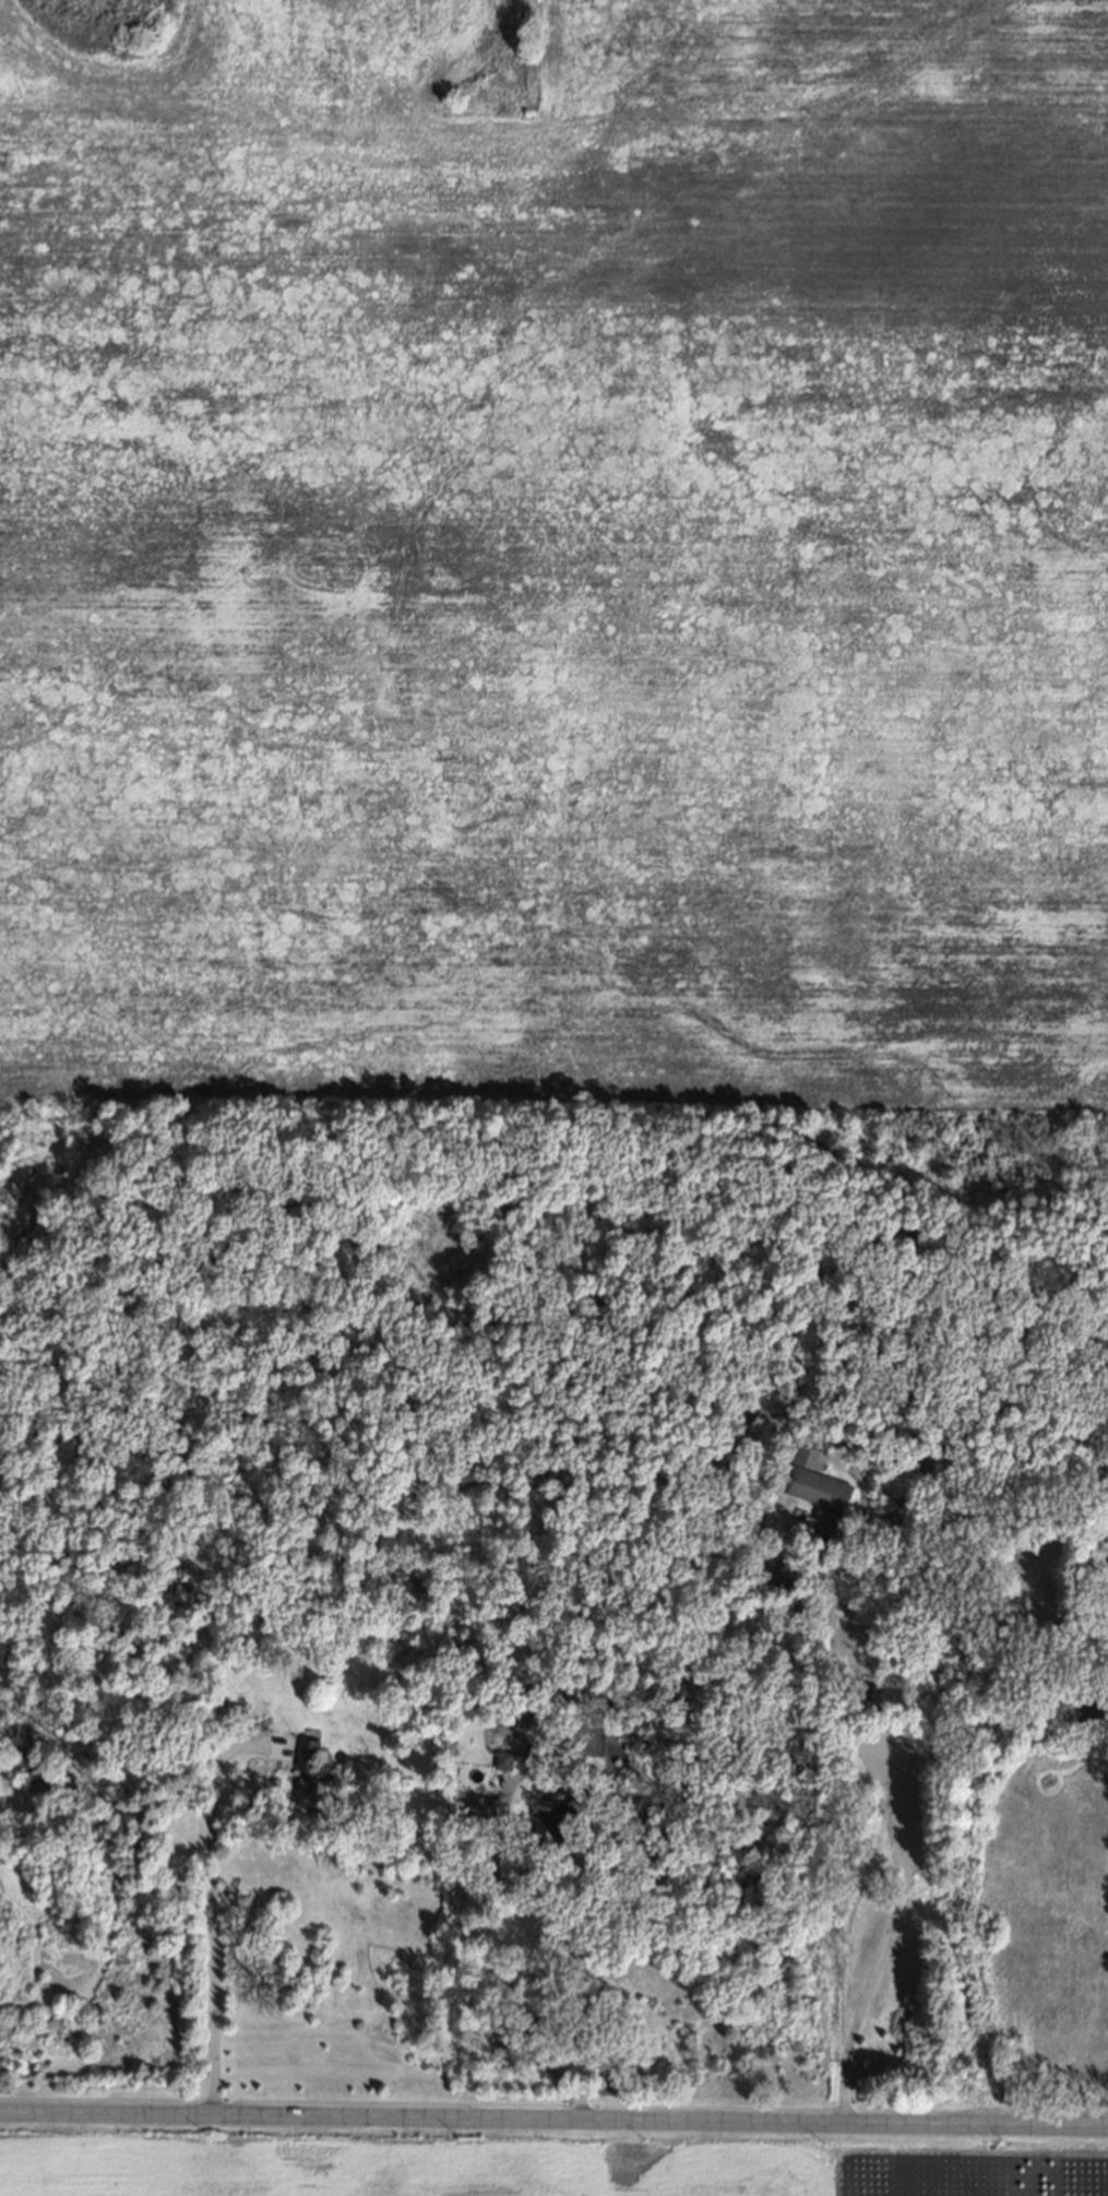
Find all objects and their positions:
building: (803, 1452)
building: (814, 1484)
building: (823, 1523)
building: (305, 1625)
building: (548, 1698)
building: (1087, 1707)
building: (547, 1708)
building: (27, 1748)
building: (303, 1752)
building: (502, 1758)
building: (343, 1759)
building: (273, 1780)
building: (313, 1791)
road: (17, 1804)
building: (474, 1807)
road: (887, 1827)
road: (212, 1913)
road: (576, 1952)
road: (553, 2129)

